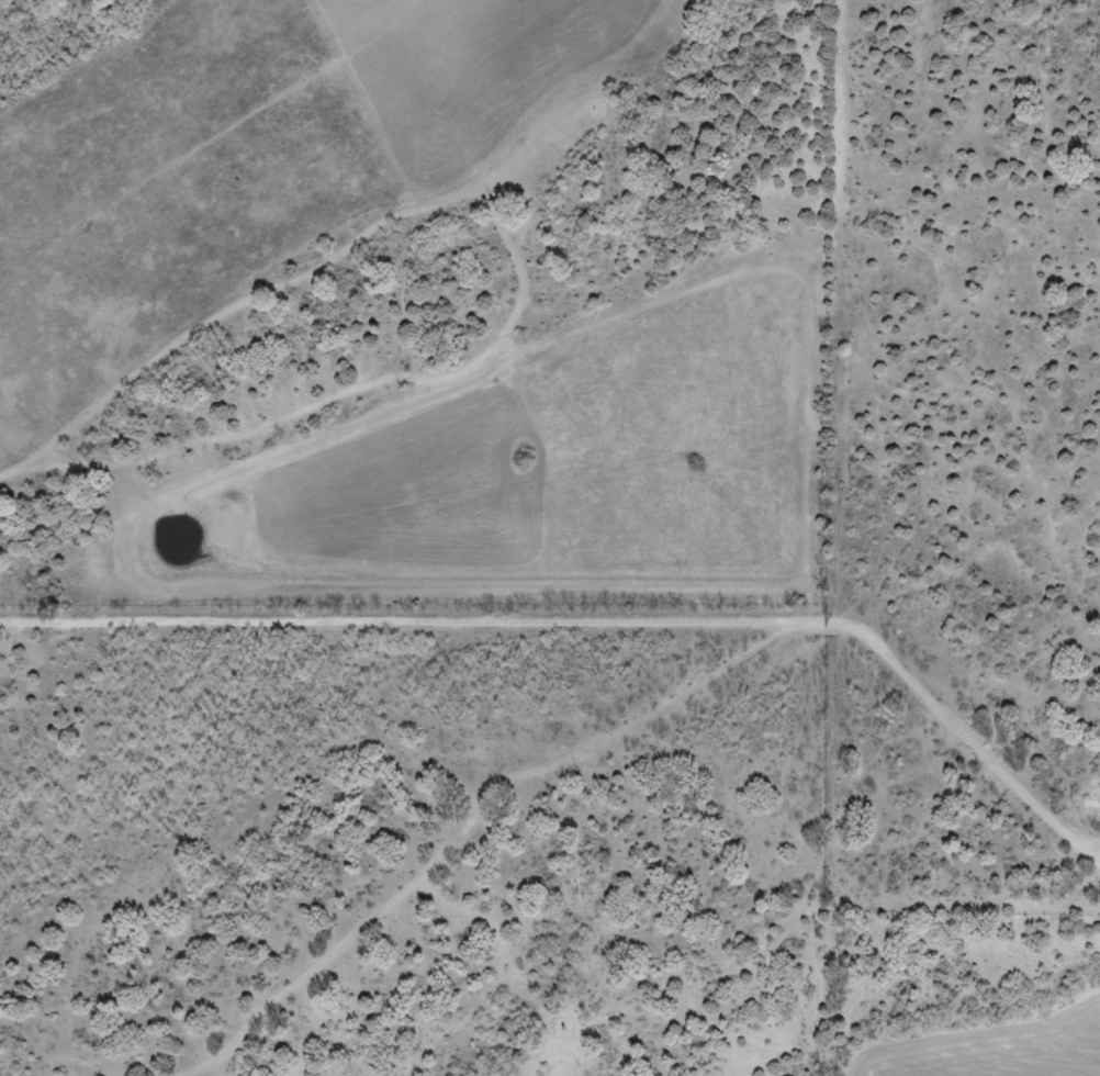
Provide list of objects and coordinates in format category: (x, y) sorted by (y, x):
road: (584, 650)
road: (468, 885)

